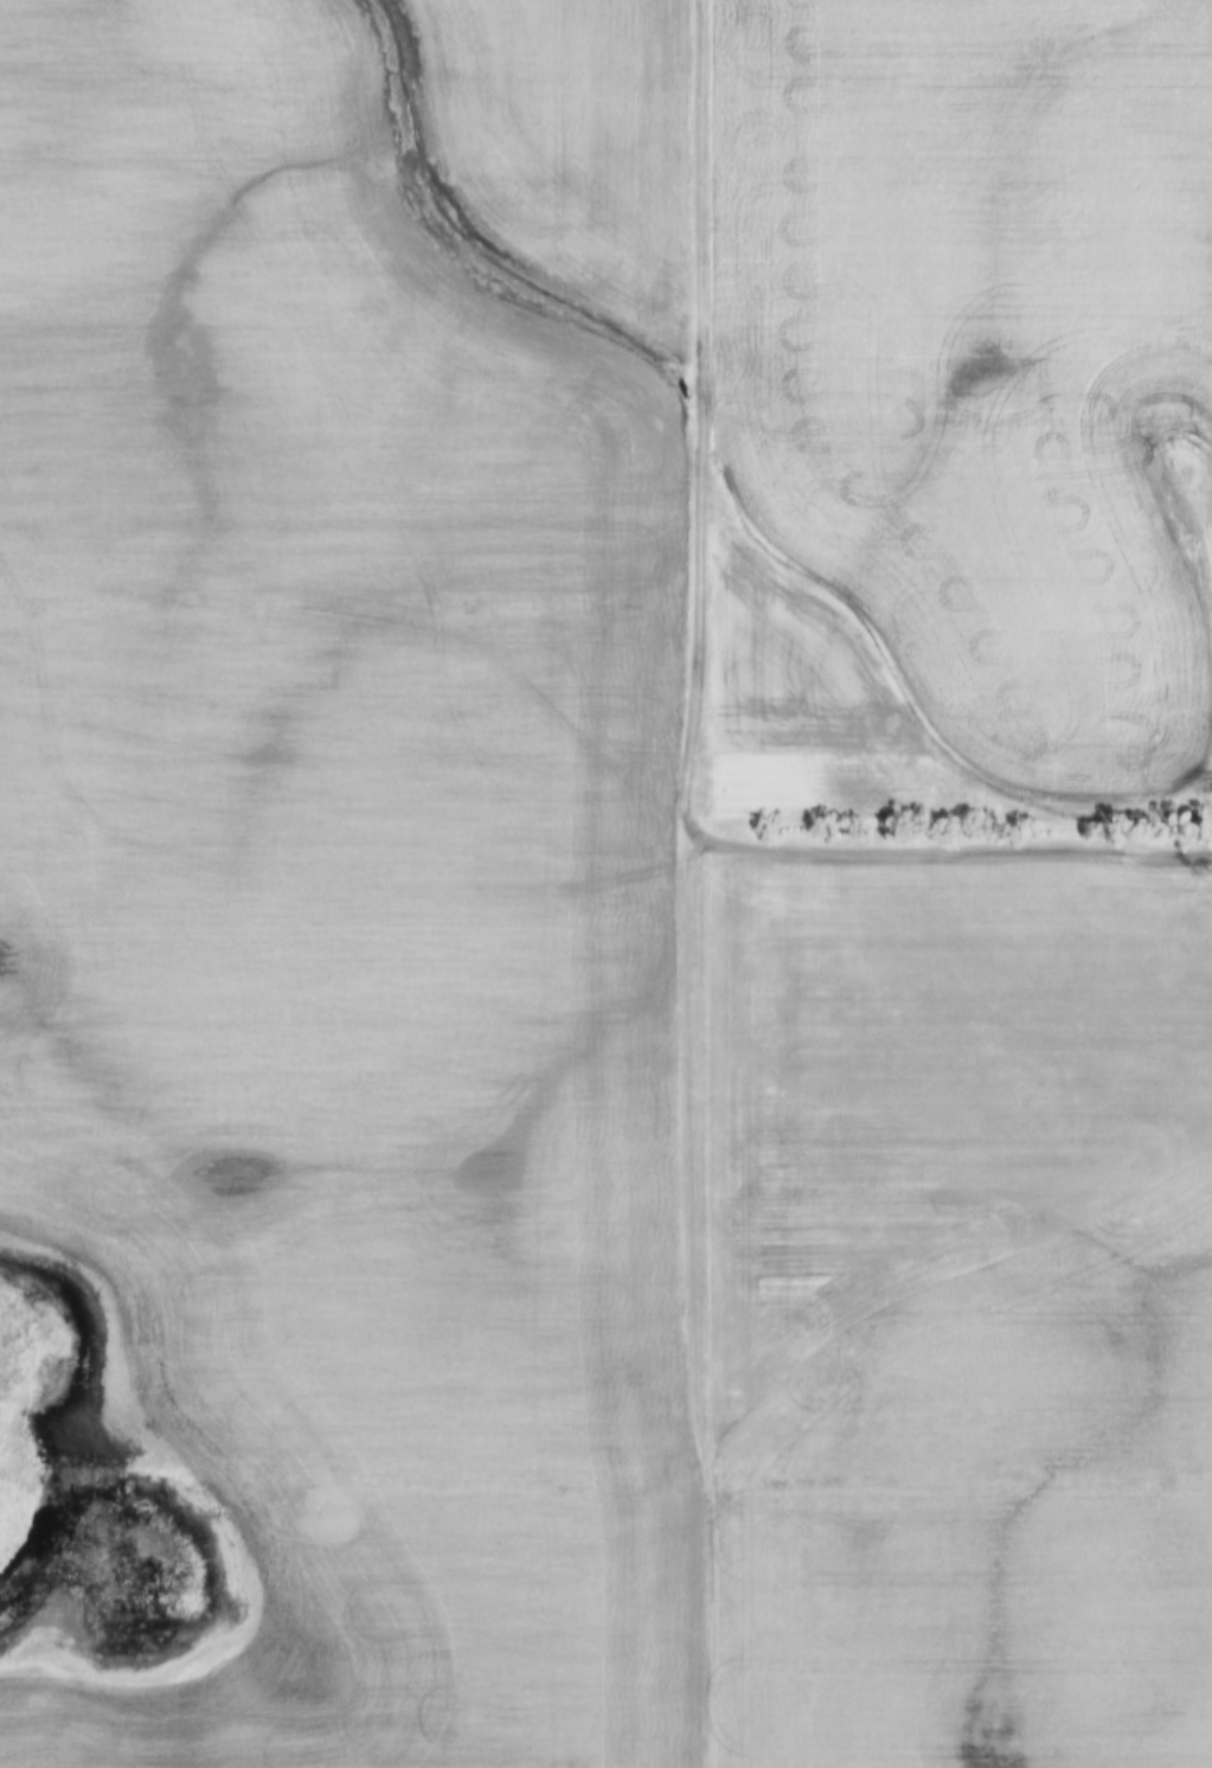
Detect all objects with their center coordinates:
road: (698, 739)
road: (954, 850)

